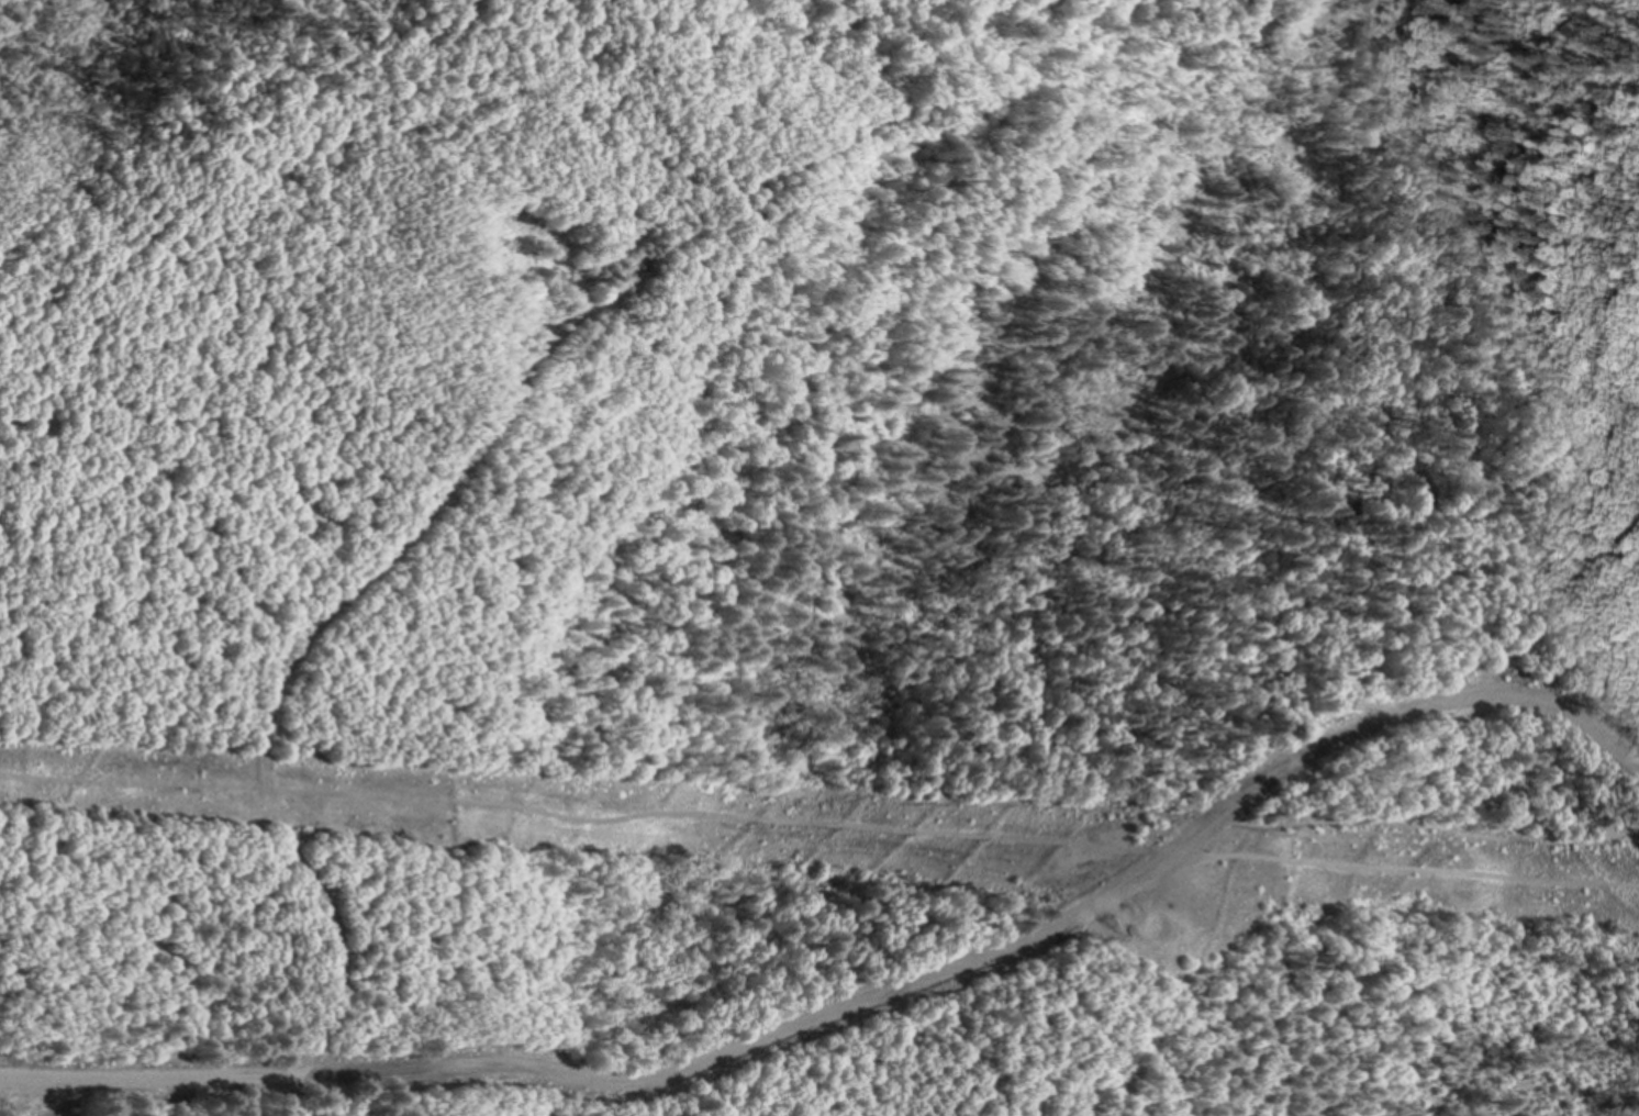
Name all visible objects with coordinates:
road: (819, 825)
road: (861, 998)

